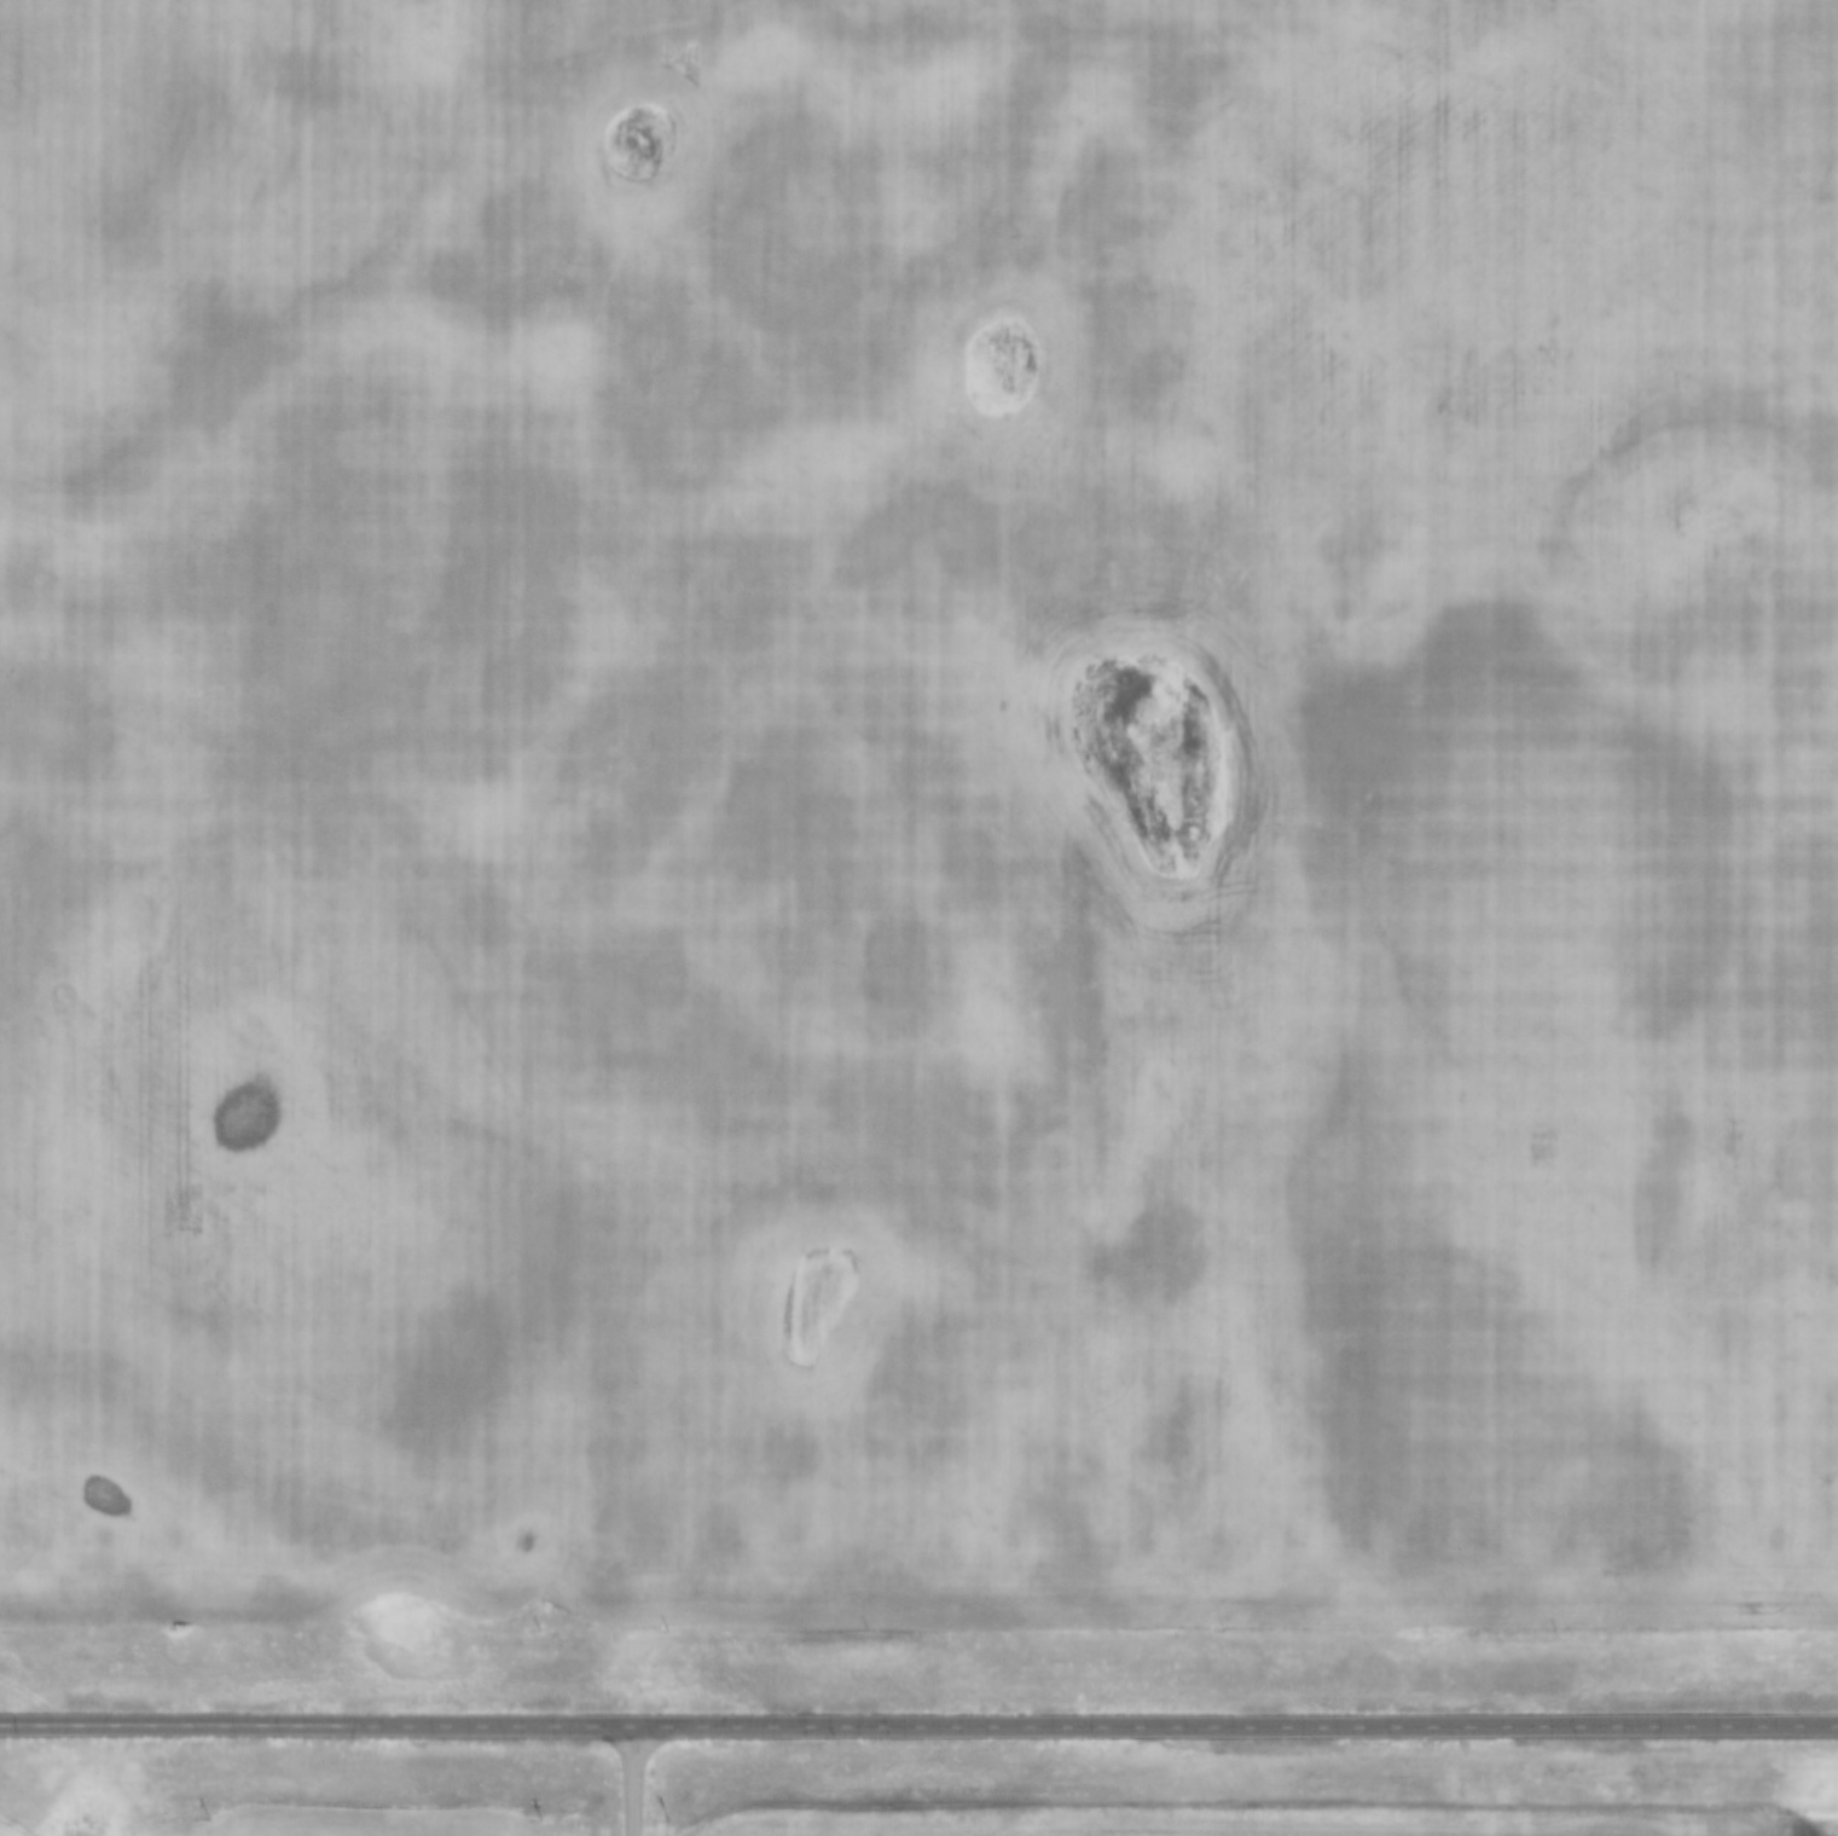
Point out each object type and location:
road: (918, 1722)
road: (634, 1779)

